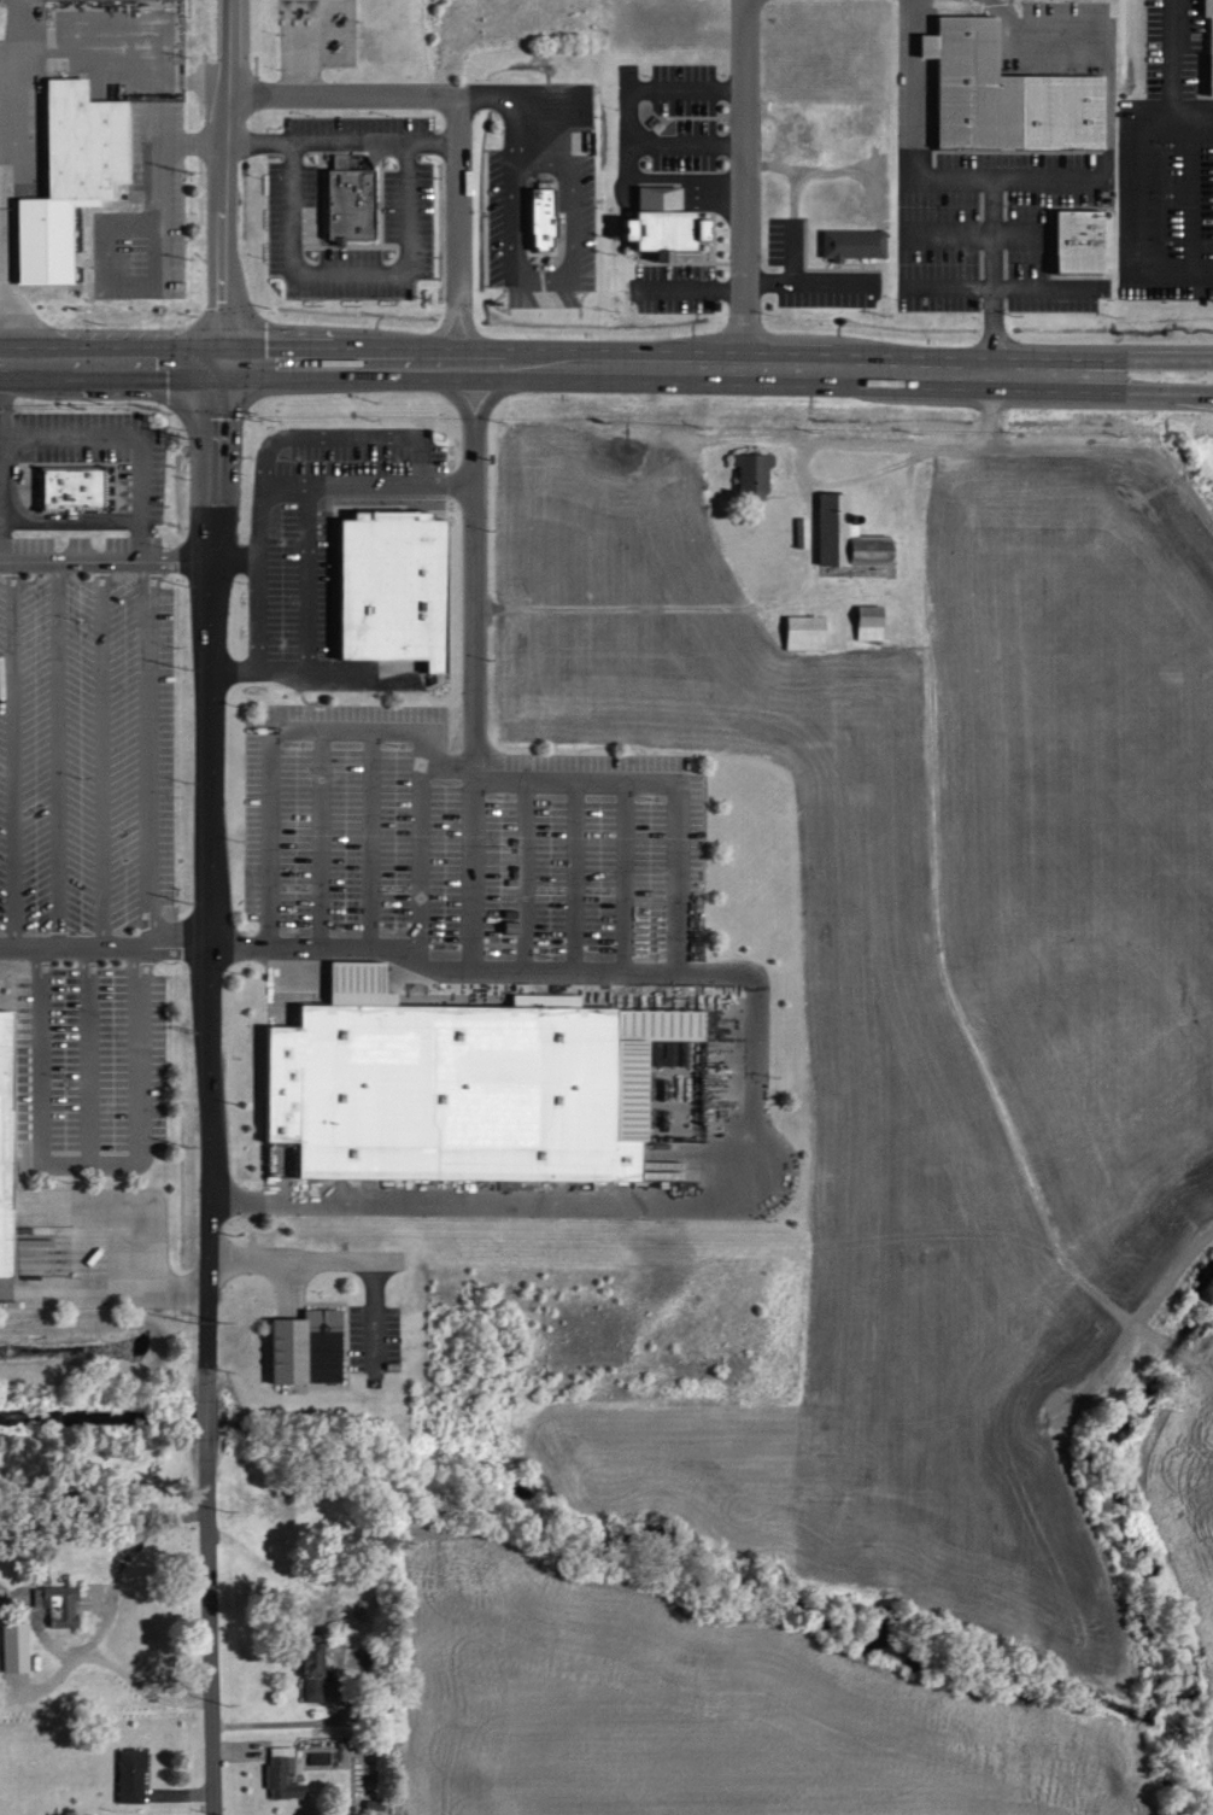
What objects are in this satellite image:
building: (1209, 7)
building: (1010, 93)
road: (457, 115)
building: (74, 175)
road: (748, 182)
building: (353, 197)
building: (546, 216)
building: (667, 221)
building: (1083, 240)
building: (856, 242)
road: (1129, 359)
traffic signals: (221, 364)
road: (523, 364)
road: (1127, 393)
road: (988, 426)
road: (867, 438)
building: (757, 472)
building: (71, 479)
parking lot: (316, 517)
building: (850, 533)
road: (104, 557)
building: (393, 576)
building: (130, 601)
building: (873, 621)
building: (809, 631)
road: (8, 751)
road: (53, 751)
road: (96, 751)
road: (145, 751)
parking lot: (465, 835)
parking lot: (86, 841)
road: (205, 906)
road: (379, 945)
road: (84, 1049)
building: (445, 1078)
building: (7, 1131)
road: (84, 1153)
road: (600, 1205)
road: (305, 1260)
road: (105, 1299)
building: (310, 1347)
building: (61, 1604)
building: (18, 1646)
building: (316, 1670)
building: (286, 1773)
building: (135, 1775)

